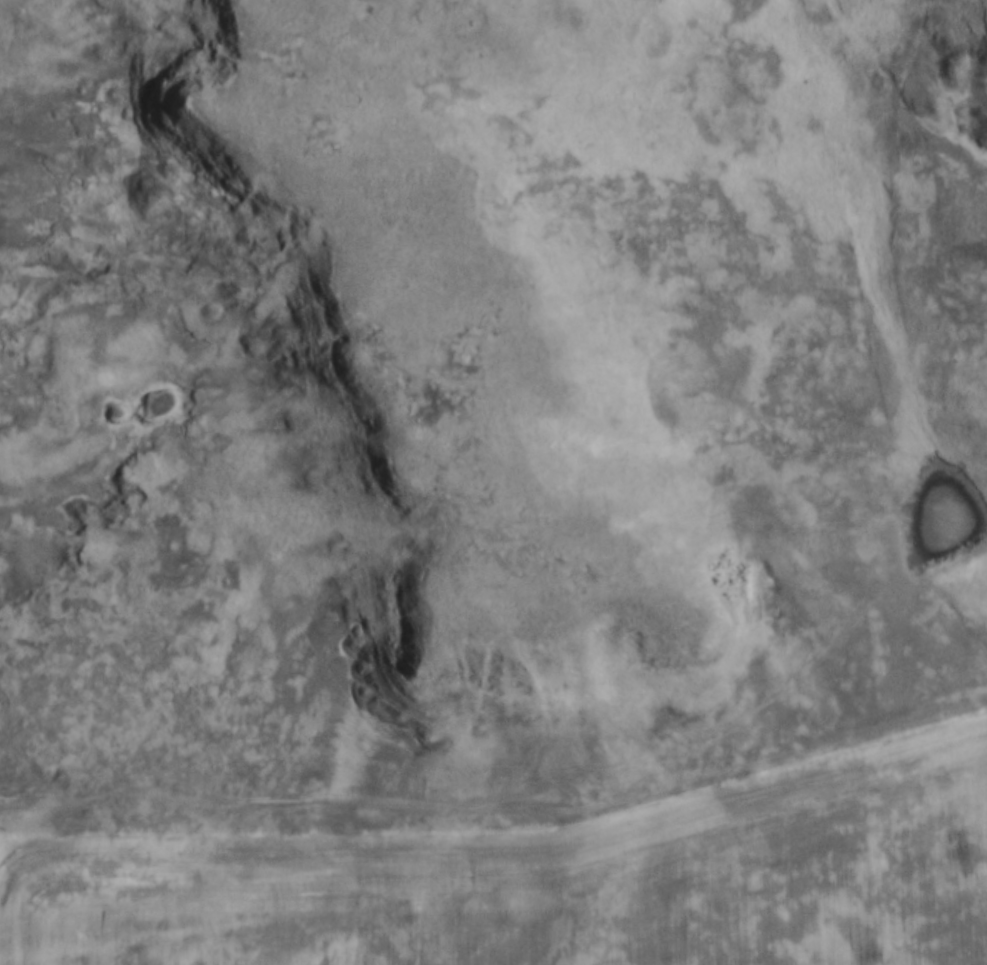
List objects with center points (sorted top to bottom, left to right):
road: (962, 694)
crop: (563, 881)

